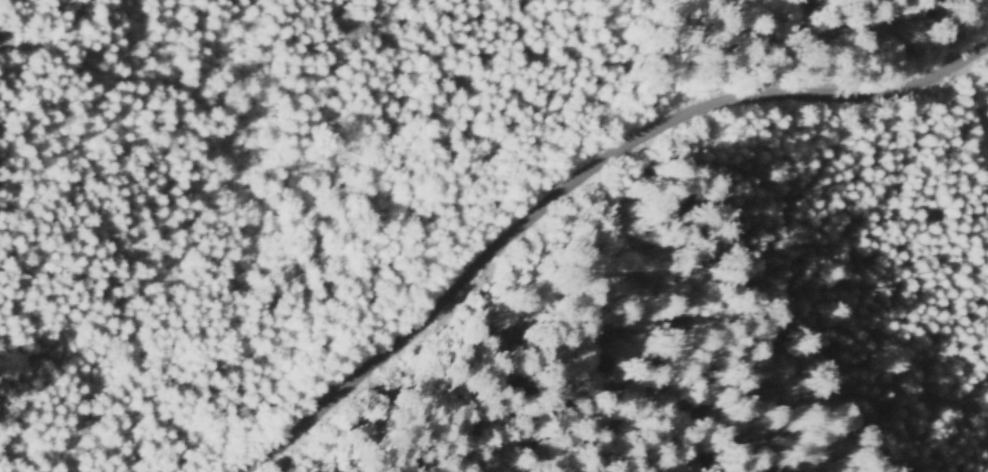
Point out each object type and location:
road: (571, 186)

